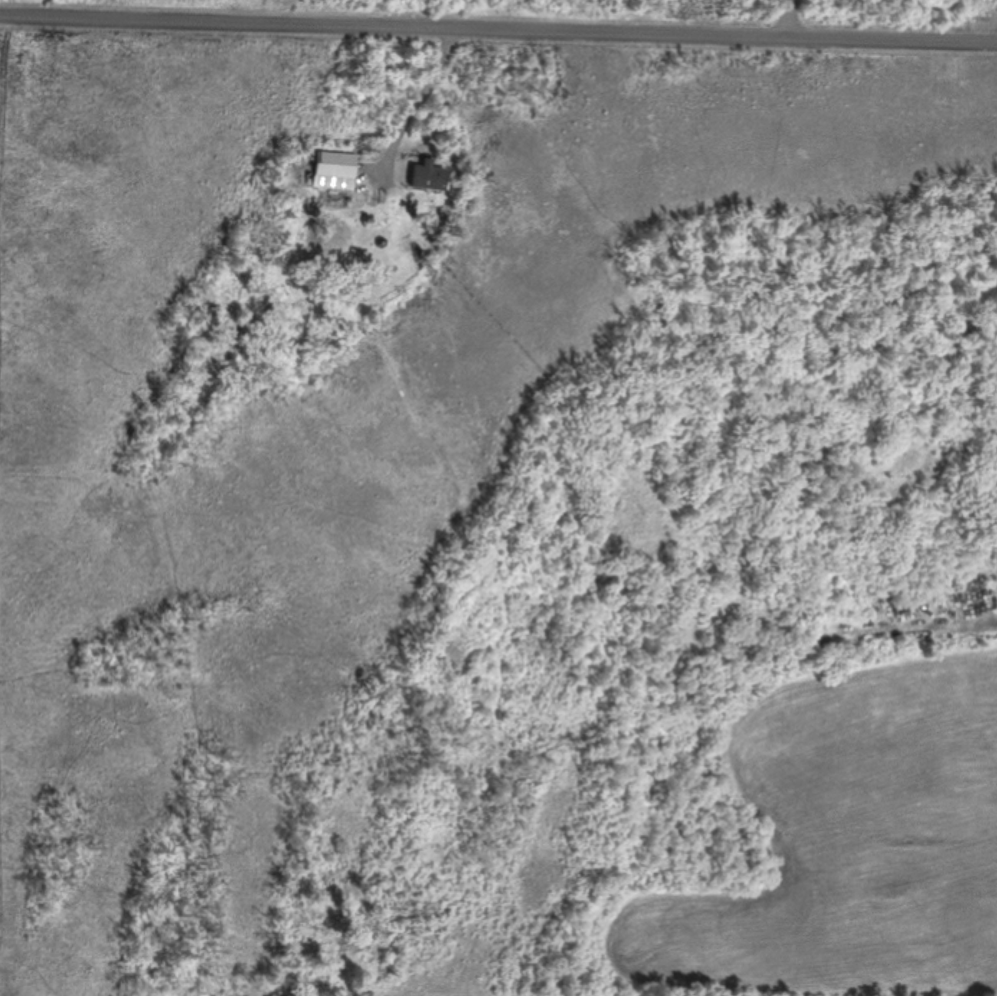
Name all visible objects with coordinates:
road: (498, 34)
road: (416, 106)
building: (336, 166)
building: (429, 177)

